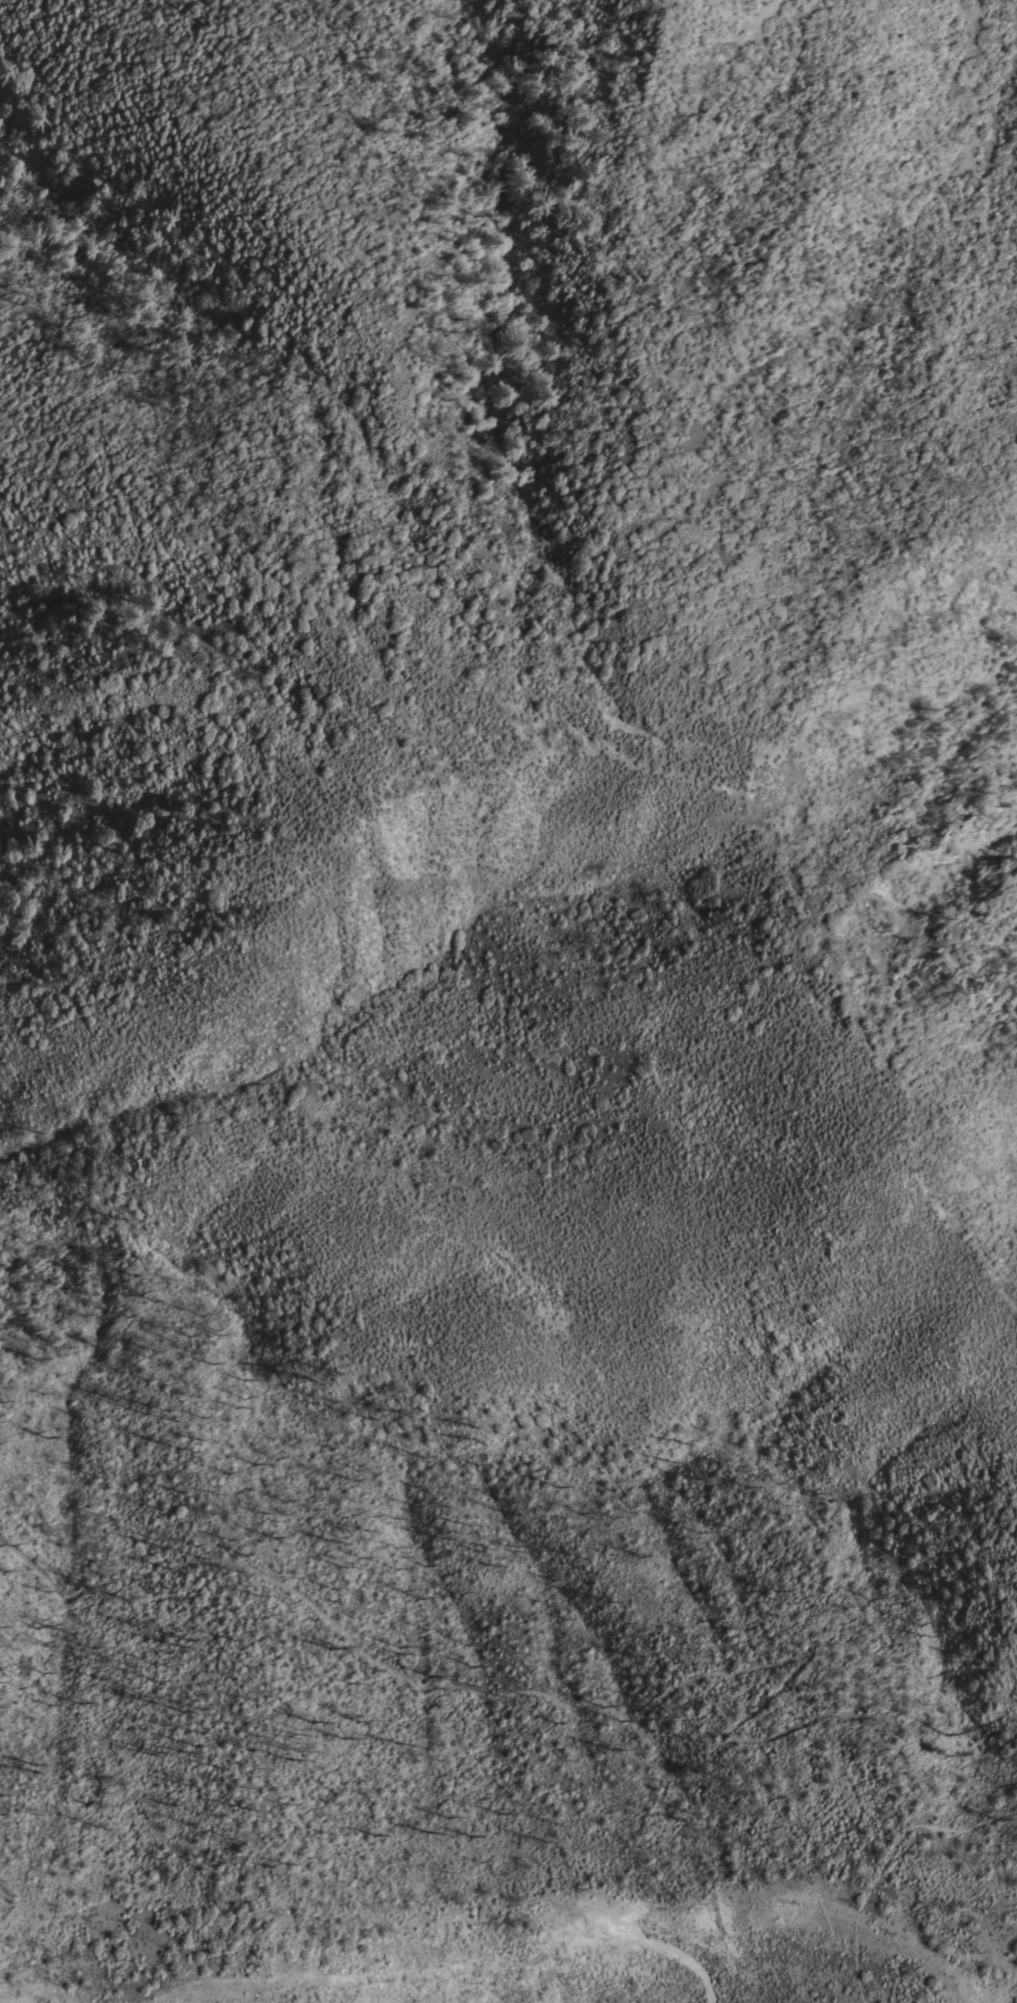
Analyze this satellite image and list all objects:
road: (587, 1698)
road: (883, 1858)
road: (672, 1950)

